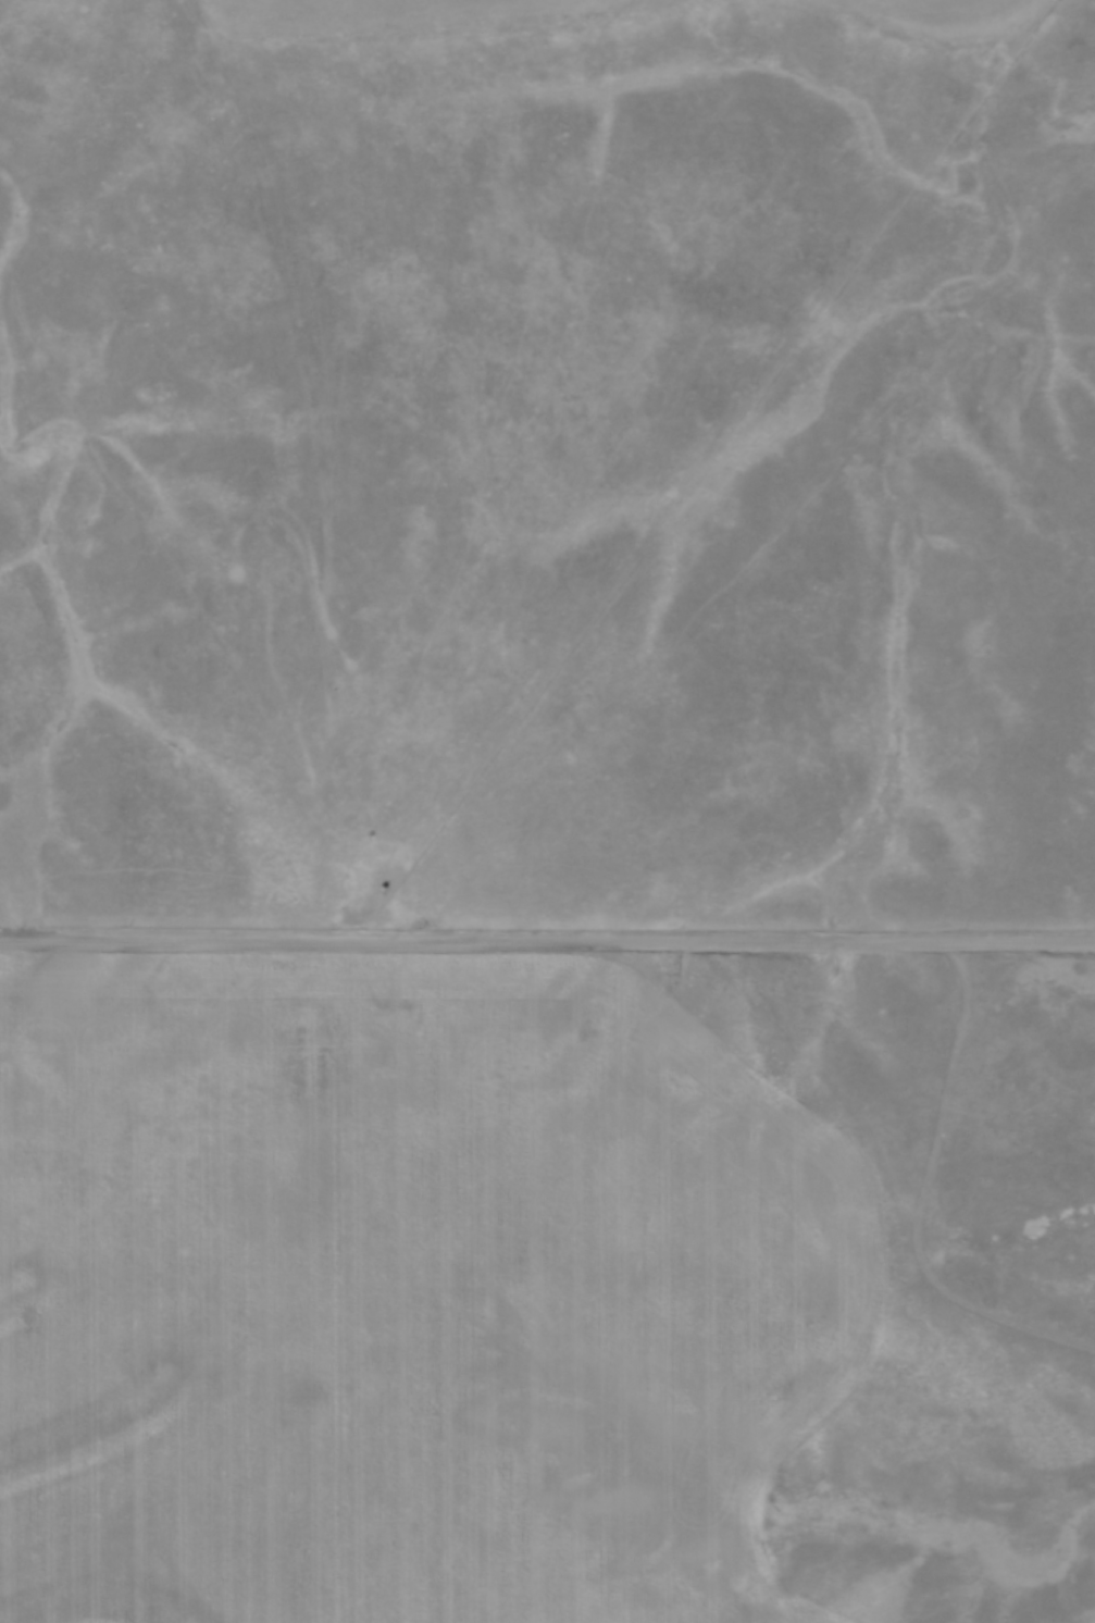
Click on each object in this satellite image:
crop: (563, 10)
road: (547, 940)
crop: (408, 1294)

